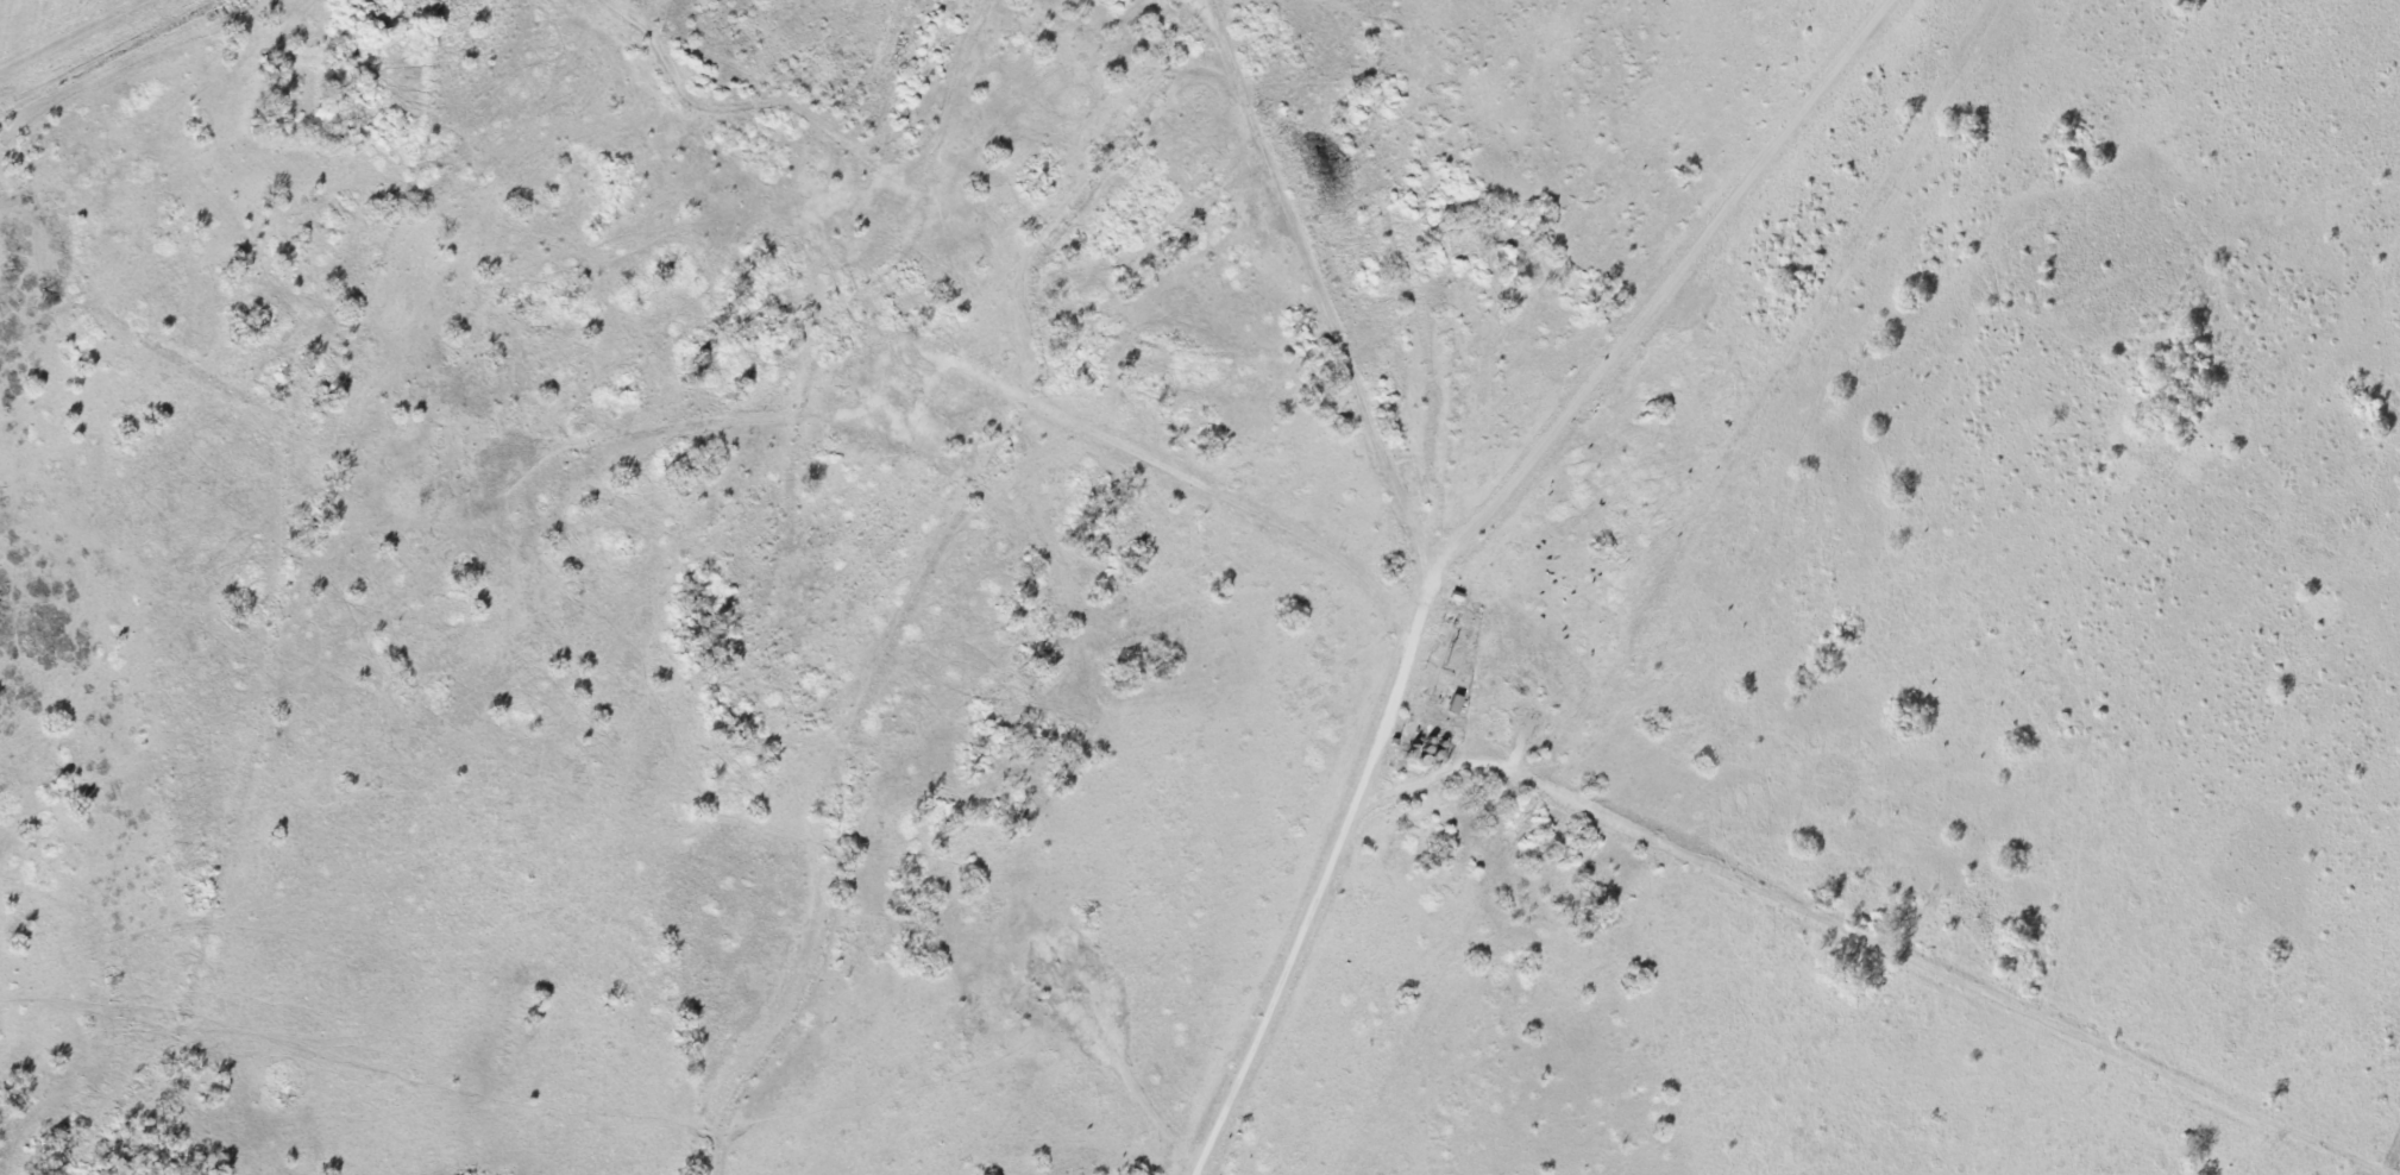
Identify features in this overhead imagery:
road: (5, 175)
road: (1322, 295)
road: (1595, 383)
road: (1692, 854)

